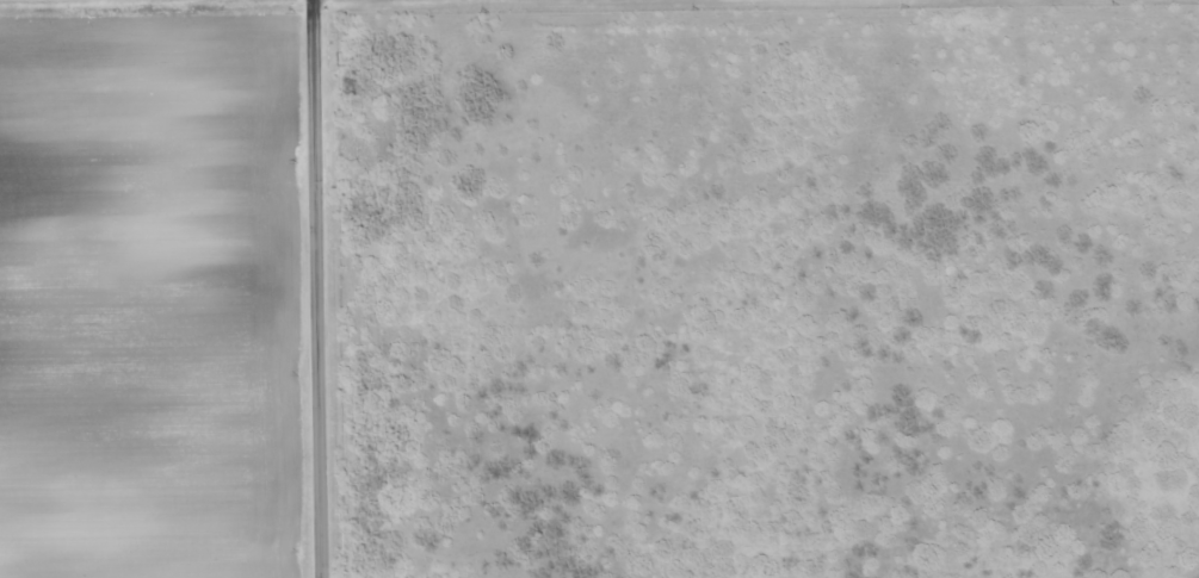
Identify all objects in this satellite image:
road: (334, 288)

